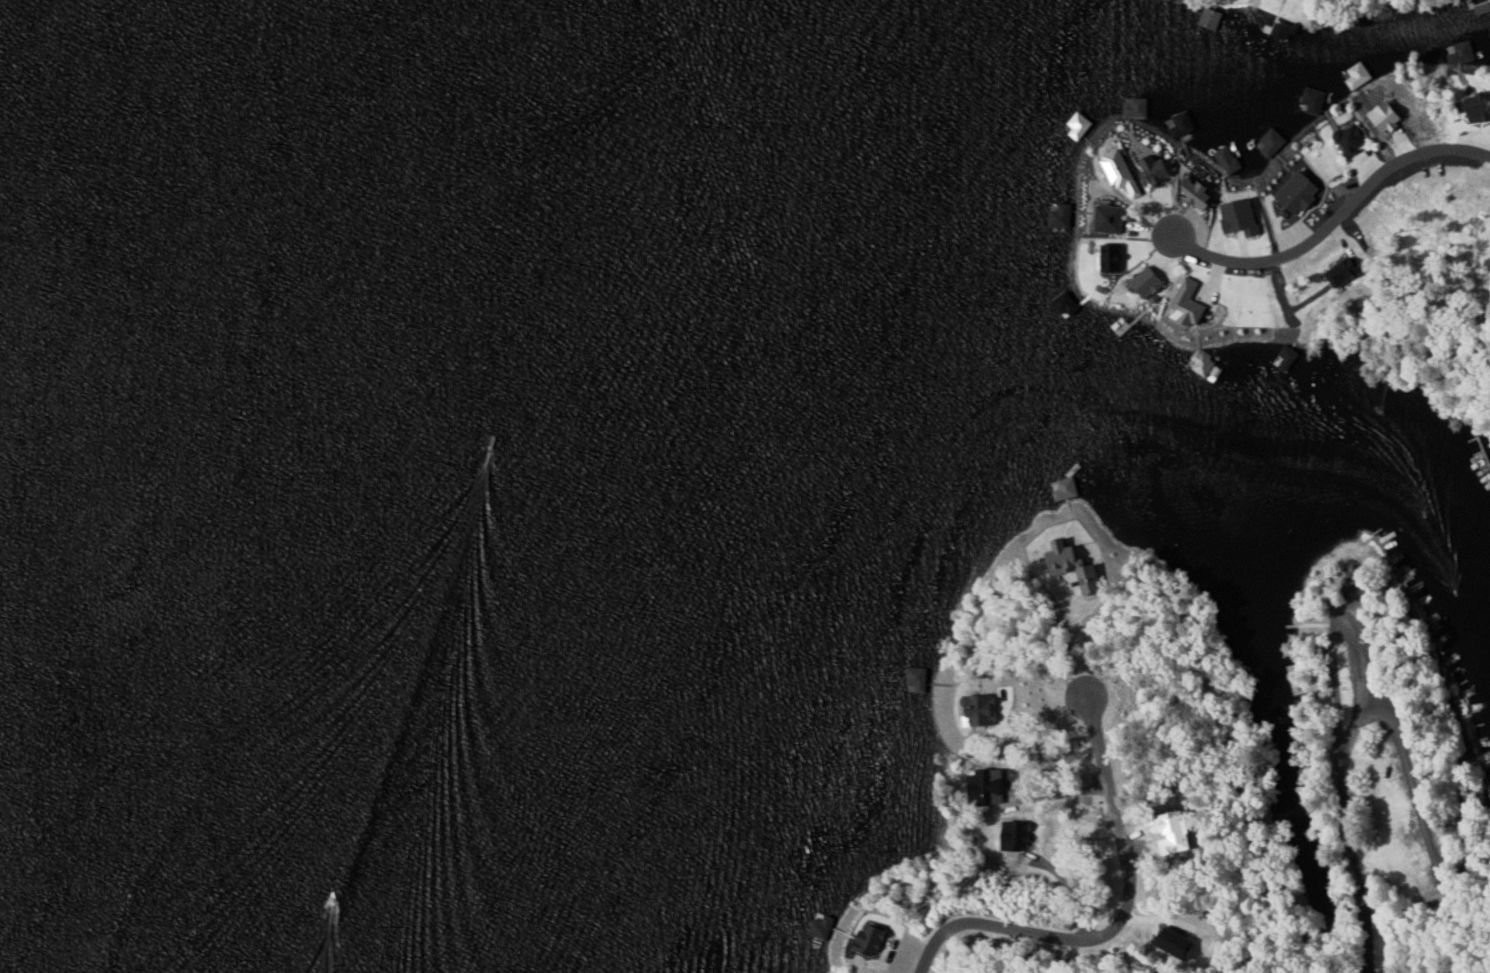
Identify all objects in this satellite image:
building: (1484, 7)
building: (1212, 17)
building: (1283, 28)
building: (1463, 52)
building: (1359, 75)
building: (1315, 99)
building: (1476, 106)
building: (1137, 107)
river: (195, 110)
building: (1387, 117)
building: (1183, 123)
building: (1080, 125)
building: (1352, 138)
building: (1271, 142)
building: (1228, 159)
building: (1159, 169)
building: (1123, 172)
building: (1199, 191)
building: (1062, 215)
building: (1241, 216)
building: (1111, 218)
road: (1335, 218)
building: (1345, 271)
building: (1149, 283)
building: (1189, 303)
building: (1286, 357)
building: (1204, 361)
building: (1073, 564)
river: (78, 593)
road: (1345, 771)
road: (1111, 920)
building: (872, 942)

